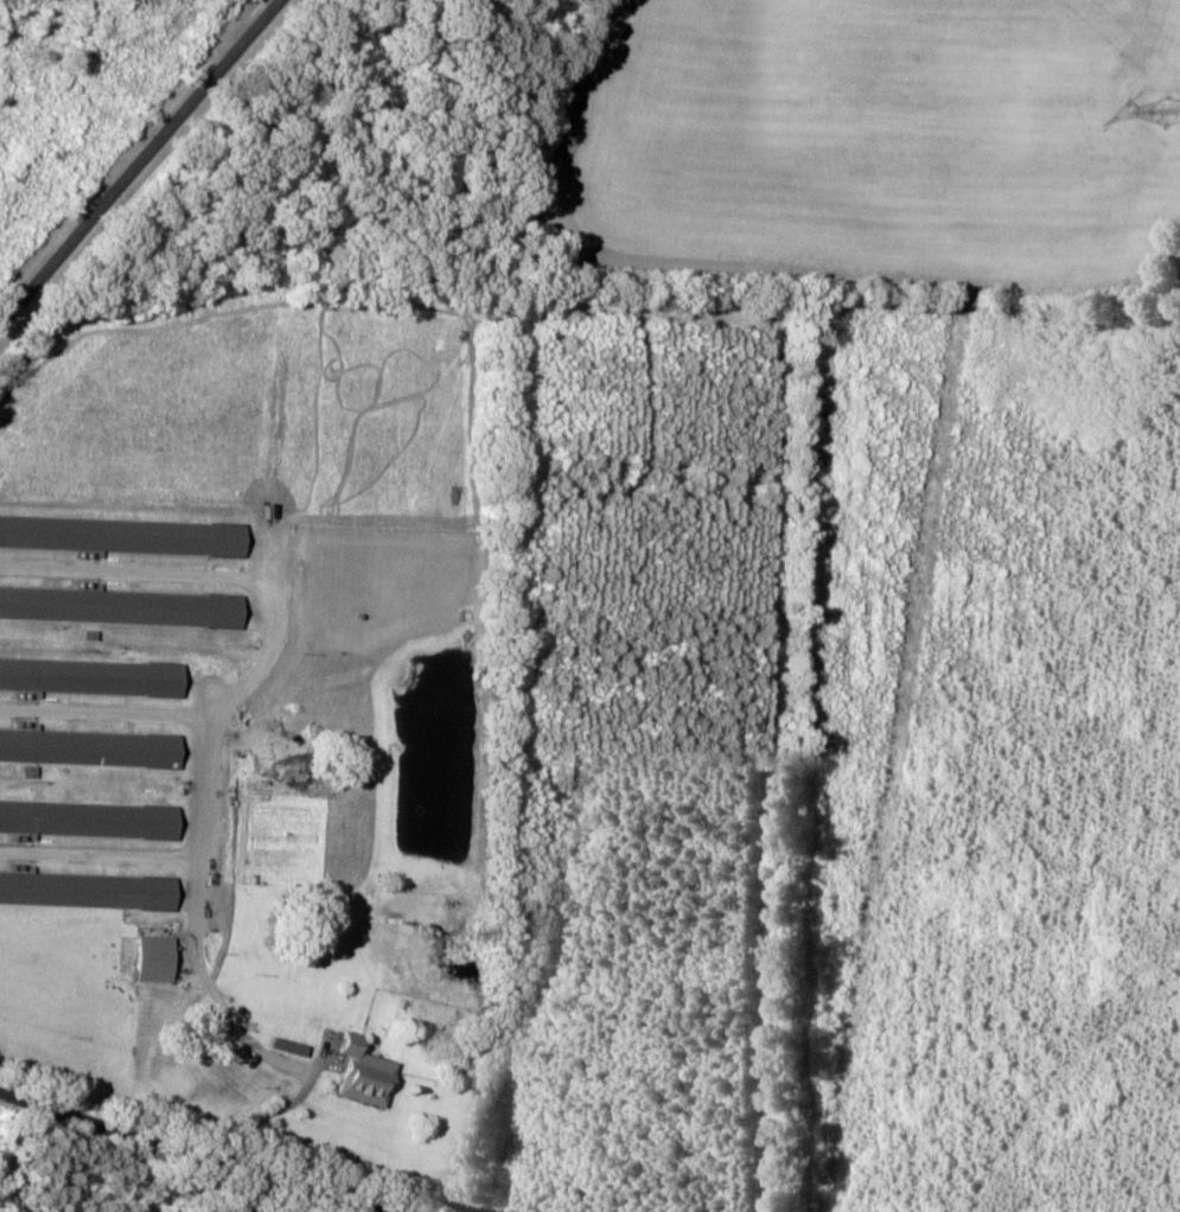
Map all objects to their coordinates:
power tower: (1161, 113)
road: (184, 205)
building: (123, 535)
building: (122, 606)
building: (93, 676)
building: (91, 747)
building: (90, 818)
building: (89, 889)
building: (158, 958)
building: (368, 1073)
road: (75, 1188)

